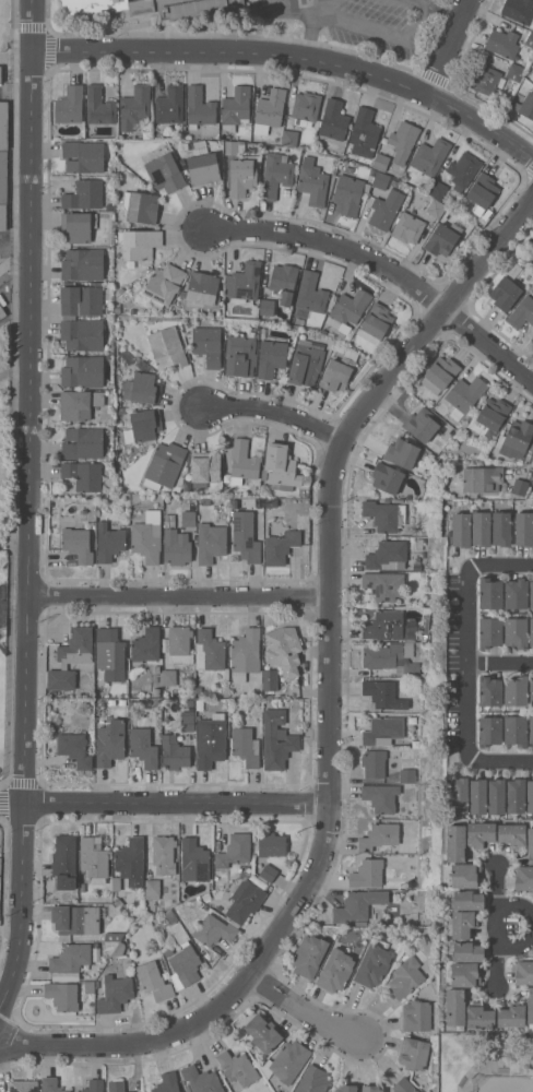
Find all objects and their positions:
road: (421, 2)
road: (311, 4)
building: (147, 7)
building: (519, 10)
road: (445, 11)
road: (416, 21)
road: (357, 25)
road: (307, 36)
building: (530, 38)
building: (502, 43)
road: (448, 47)
road: (294, 57)
building: (514, 71)
building: (0, 74)
building: (532, 75)
building: (486, 79)
building: (69, 104)
building: (169, 104)
building: (99, 105)
building: (525, 105)
building: (134, 106)
building: (199, 107)
building: (305, 107)
building: (236, 108)
building: (270, 109)
building: (333, 119)
building: (3, 124)
building: (364, 132)
building: (145, 134)
building: (289, 136)
building: (403, 140)
building: (234, 146)
building: (304, 151)
building: (83, 155)
building: (429, 156)
building: (380, 161)
building: (203, 165)
building: (463, 169)
building: (165, 171)
building: (242, 174)
building: (275, 174)
building: (381, 180)
building: (312, 185)
building: (3, 188)
building: (437, 189)
building: (483, 190)
building: (348, 193)
building: (84, 194)
building: (140, 205)
building: (436, 207)
building: (386, 209)
building: (78, 225)
building: (408, 225)
building: (445, 237)
building: (141, 244)
building: (532, 244)
road: (16, 249)
building: (83, 263)
road: (386, 268)
building: (244, 282)
building: (283, 282)
building: (164, 284)
building: (506, 289)
building: (201, 292)
building: (309, 295)
building: (81, 300)
building: (268, 306)
building: (118, 309)
building: (347, 309)
building: (2, 312)
building: (522, 312)
building: (376, 322)
building: (82, 333)
building: (300, 334)
building: (532, 340)
building: (208, 344)
building: (167, 347)
building: (241, 353)
building: (270, 355)
building: (127, 356)
building: (306, 363)
building: (142, 364)
building: (82, 370)
building: (339, 370)
building: (440, 372)
building: (142, 388)
building: (464, 394)
building: (79, 403)
building: (121, 410)
road: (280, 411)
building: (489, 415)
building: (422, 424)
building: (143, 425)
building: (516, 438)
building: (82, 442)
building: (405, 453)
building: (241, 462)
building: (164, 465)
building: (205, 465)
building: (280, 467)
building: (84, 474)
building: (387, 477)
building: (482, 478)
building: (520, 487)
building: (204, 501)
building: (140, 502)
road: (29, 509)
building: (384, 514)
building: (188, 518)
building: (93, 524)
building: (481, 527)
building: (501, 527)
building: (524, 527)
building: (461, 529)
building: (147, 537)
building: (109, 542)
building: (211, 542)
building: (246, 542)
building: (78, 544)
building: (176, 546)
building: (280, 546)
building: (388, 555)
road: (500, 568)
building: (383, 584)
building: (490, 592)
building: (516, 593)
building: (531, 594)
road: (180, 595)
building: (411, 622)
building: (384, 625)
building: (531, 630)
building: (490, 631)
building: (516, 631)
building: (146, 644)
building: (179, 644)
building: (284, 649)
building: (209, 650)
building: (109, 653)
building: (246, 653)
building: (391, 656)
building: (71, 657)
road: (469, 662)
road: (490, 662)
building: (168, 677)
building: (270, 679)
building: (490, 690)
building: (516, 690)
building: (531, 691)
building: (258, 693)
building: (382, 693)
building: (110, 701)
building: (121, 701)
road: (331, 702)
building: (200, 703)
building: (187, 721)
building: (531, 728)
building: (516, 729)
building: (383, 731)
building: (489, 731)
building: (276, 739)
building: (210, 740)
building: (110, 741)
building: (246, 746)
building: (143, 747)
building: (74, 748)
building: (174, 752)
road: (500, 757)
building: (374, 762)
building: (407, 775)
building: (460, 794)
building: (516, 795)
building: (380, 796)
building: (478, 796)
building: (497, 796)
building: (530, 796)
road: (165, 804)
building: (481, 833)
building: (512, 834)
building: (379, 836)
building: (530, 841)
building: (455, 842)
building: (271, 843)
building: (234, 850)
building: (164, 854)
building: (93, 857)
building: (194, 859)
building: (131, 860)
building: (64, 862)
building: (268, 873)
building: (367, 873)
building: (465, 874)
building: (523, 877)
building: (116, 882)
building: (82, 887)
building: (152, 889)
building: (205, 895)
building: (469, 899)
building: (245, 900)
building: (118, 903)
building: (358, 904)
building: (168, 913)
building: (76, 918)
building: (173, 918)
building: (462, 923)
road: (516, 923)
road: (498, 928)
building: (214, 929)
building: (112, 936)
building: (118, 949)
building: (168, 951)
building: (469, 951)
building: (309, 954)
building: (71, 957)
building: (183, 958)
building: (374, 963)
building: (335, 970)
building: (523, 971)
building: (407, 974)
building: (465, 974)
building: (154, 981)
building: (90, 987)
building: (115, 993)
building: (62, 995)
building: (455, 1007)
building: (530, 1008)
road: (305, 1010)
building: (416, 1014)
building: (511, 1014)
building: (479, 1016)
building: (263, 1032)
building: (413, 1053)
building: (286, 1061)
building: (237, 1067)
building: (202, 1079)
building: (312, 1080)
building: (167, 1082)
building: (51, 1084)
building: (24, 1085)
building: (93, 1085)
building: (117, 1085)
building: (404, 1085)
building: (346, 1088)
building: (370, 1088)
building: (181, 1091)

